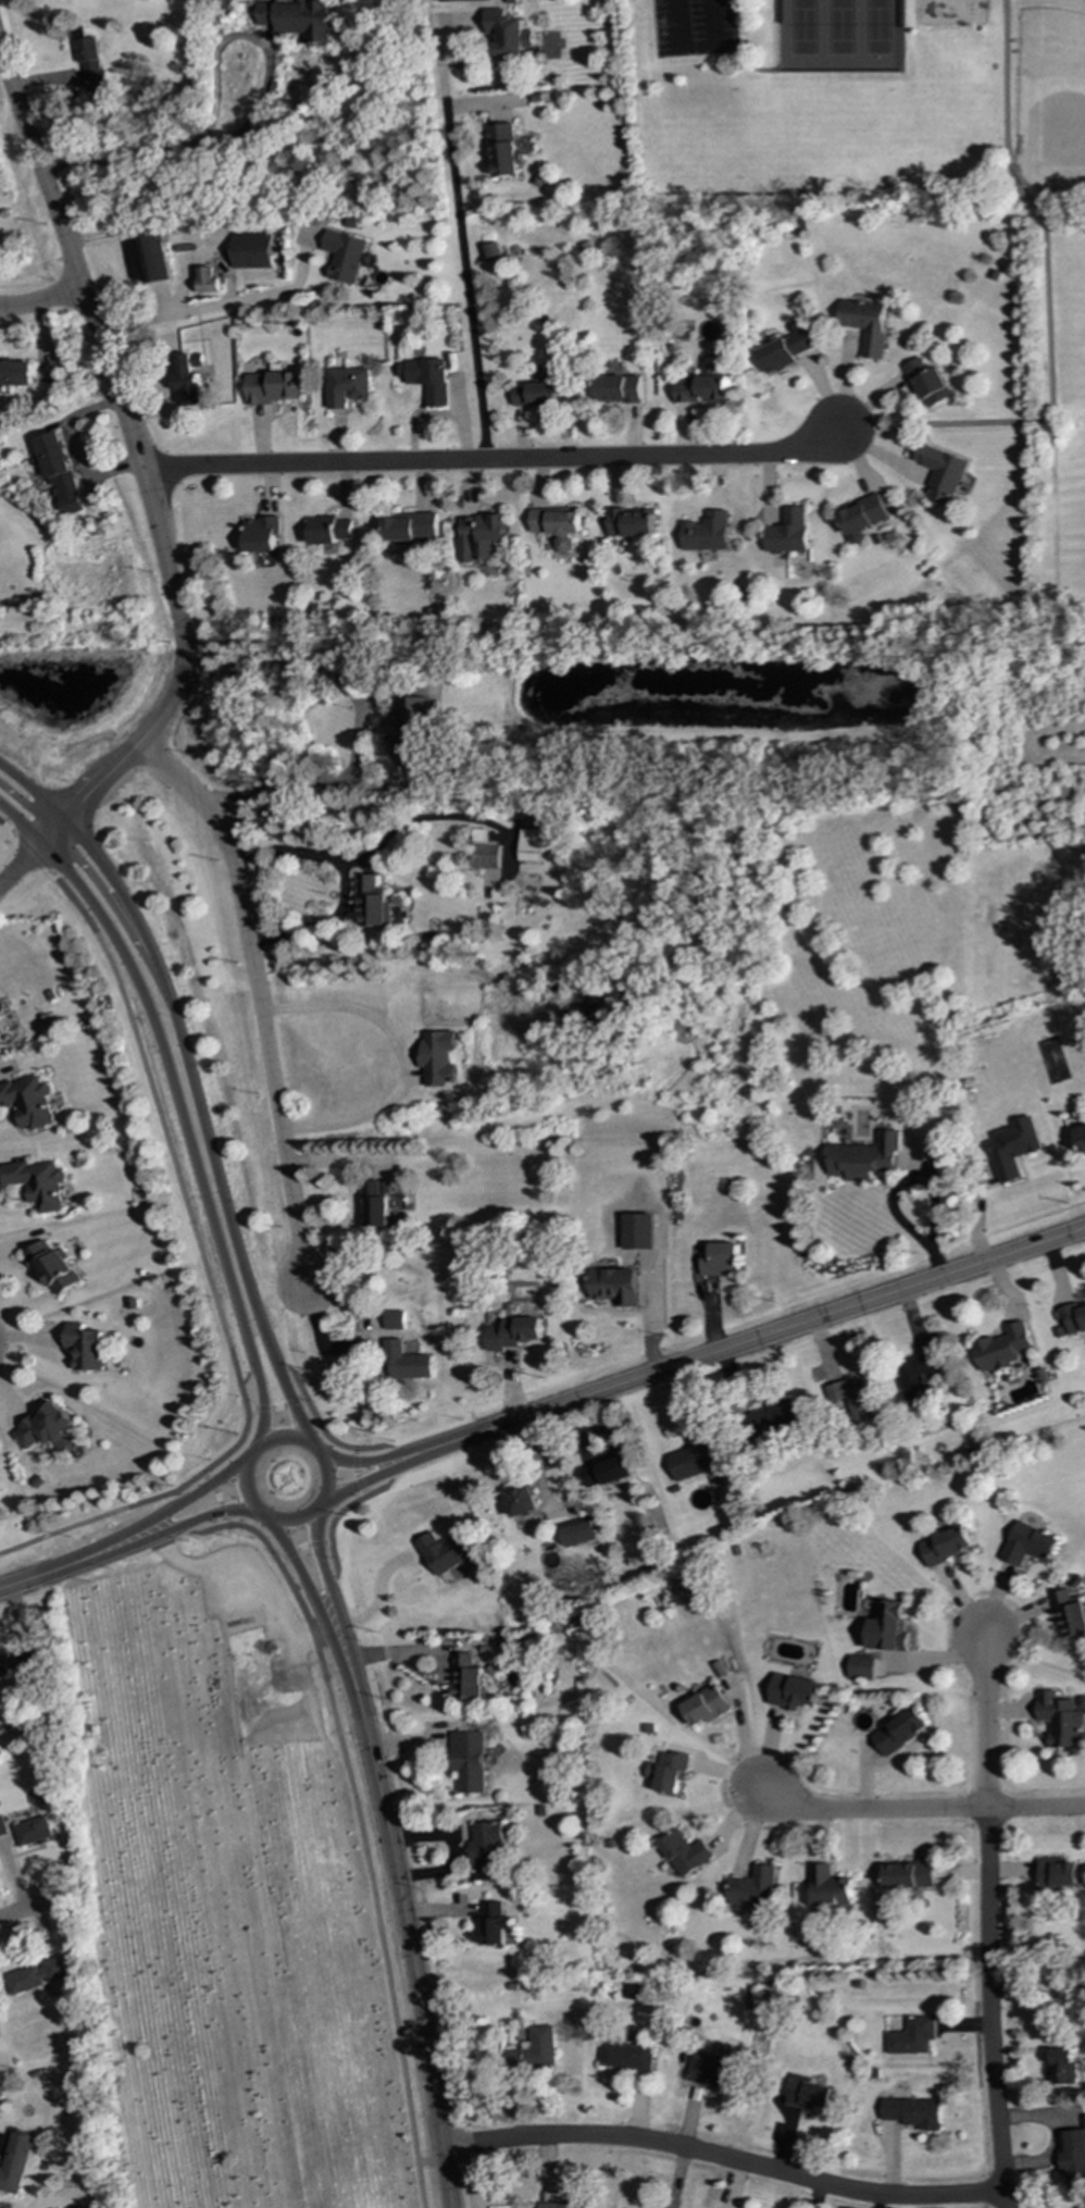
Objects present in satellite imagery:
building: (453, 0)
building: (298, 17)
park: (695, 28)
building: (508, 33)
building: (90, 62)
road: (1001, 114)
park: (898, 134)
building: (503, 149)
road: (454, 221)
road: (1061, 223)
building: (252, 250)
building: (345, 256)
building: (155, 258)
building: (208, 281)
road: (40, 299)
road: (221, 307)
building: (865, 324)
building: (783, 351)
building: (15, 373)
building: (189, 377)
building: (425, 379)
building: (928, 383)
building: (272, 386)
building: (346, 386)
building: (700, 387)
building: (616, 388)
building: (534, 394)
road: (1045, 425)
road: (75, 448)
road: (489, 460)
road: (136, 464)
building: (59, 471)
building: (941, 473)
building: (863, 517)
building: (631, 523)
building: (557, 525)
building: (410, 526)
building: (328, 530)
building: (706, 532)
building: (787, 532)
building: (260, 533)
building: (477, 535)
road: (360, 721)
building: (411, 728)
road: (28, 808)
road: (21, 822)
road: (395, 831)
building: (529, 845)
building: (484, 849)
road: (21, 863)
road: (338, 880)
building: (373, 902)
road: (117, 916)
road: (255, 998)
building: (0, 1032)
road: (179, 1042)
building: (436, 1056)
road: (400, 1059)
road: (175, 1089)
building: (27, 1101)
building: (1080, 1138)
building: (934, 1148)
building: (1012, 1148)
building: (862, 1157)
road: (173, 1167)
road: (920, 1177)
building: (37, 1182)
building: (375, 1203)
building: (719, 1260)
building: (52, 1267)
building: (615, 1286)
building: (1073, 1318)
building: (394, 1319)
road: (787, 1328)
building: (512, 1332)
building: (85, 1347)
building: (1001, 1348)
building: (406, 1361)
road: (248, 1375)
road: (295, 1375)
building: (914, 1378)
building: (853, 1399)
road: (309, 1402)
road: (264, 1404)
road: (296, 1406)
building: (774, 1418)
building: (47, 1427)
road: (460, 1437)
road: (381, 1447)
road: (417, 1448)
road: (415, 1459)
building: (695, 1460)
road: (363, 1462)
building: (607, 1472)
road: (212, 1485)
road: (360, 1485)
road: (386, 1487)
road: (176, 1500)
building: (522, 1501)
road: (259, 1508)
road: (102, 1515)
road: (336, 1517)
building: (576, 1531)
road: (200, 1533)
road: (147, 1539)
road: (105, 1543)
building: (1026, 1545)
building: (945, 1546)
road: (319, 1548)
road: (289, 1553)
building: (447, 1554)
road: (336, 1565)
road: (18, 1583)
road: (299, 1588)
building: (1069, 1612)
building: (887, 1627)
road: (350, 1652)
road: (336, 1655)
building: (17, 1662)
building: (860, 1667)
building: (465, 1677)
building: (791, 1691)
building: (704, 1705)
building: (1061, 1720)
building: (898, 1731)
building: (469, 1761)
building: (668, 1771)
road: (916, 1811)
building: (2, 1826)
building: (34, 1831)
road: (363, 1845)
building: (486, 1850)
building: (683, 1852)
building: (1055, 1874)
building: (908, 1875)
building: (751, 1888)
building: (827, 1888)
road: (33, 1908)
road: (986, 1922)
building: (495, 1923)
road: (413, 1962)
building: (38, 1975)
building: (629, 1990)
building: (911, 2036)
building: (534, 2050)
building: (624, 2057)
building: (1063, 2067)
building: (711, 2068)
building: (911, 2112)
building: (1073, 2156)
road: (724, 2159)
road: (428, 2161)
building: (14, 2163)
building: (560, 2205)

